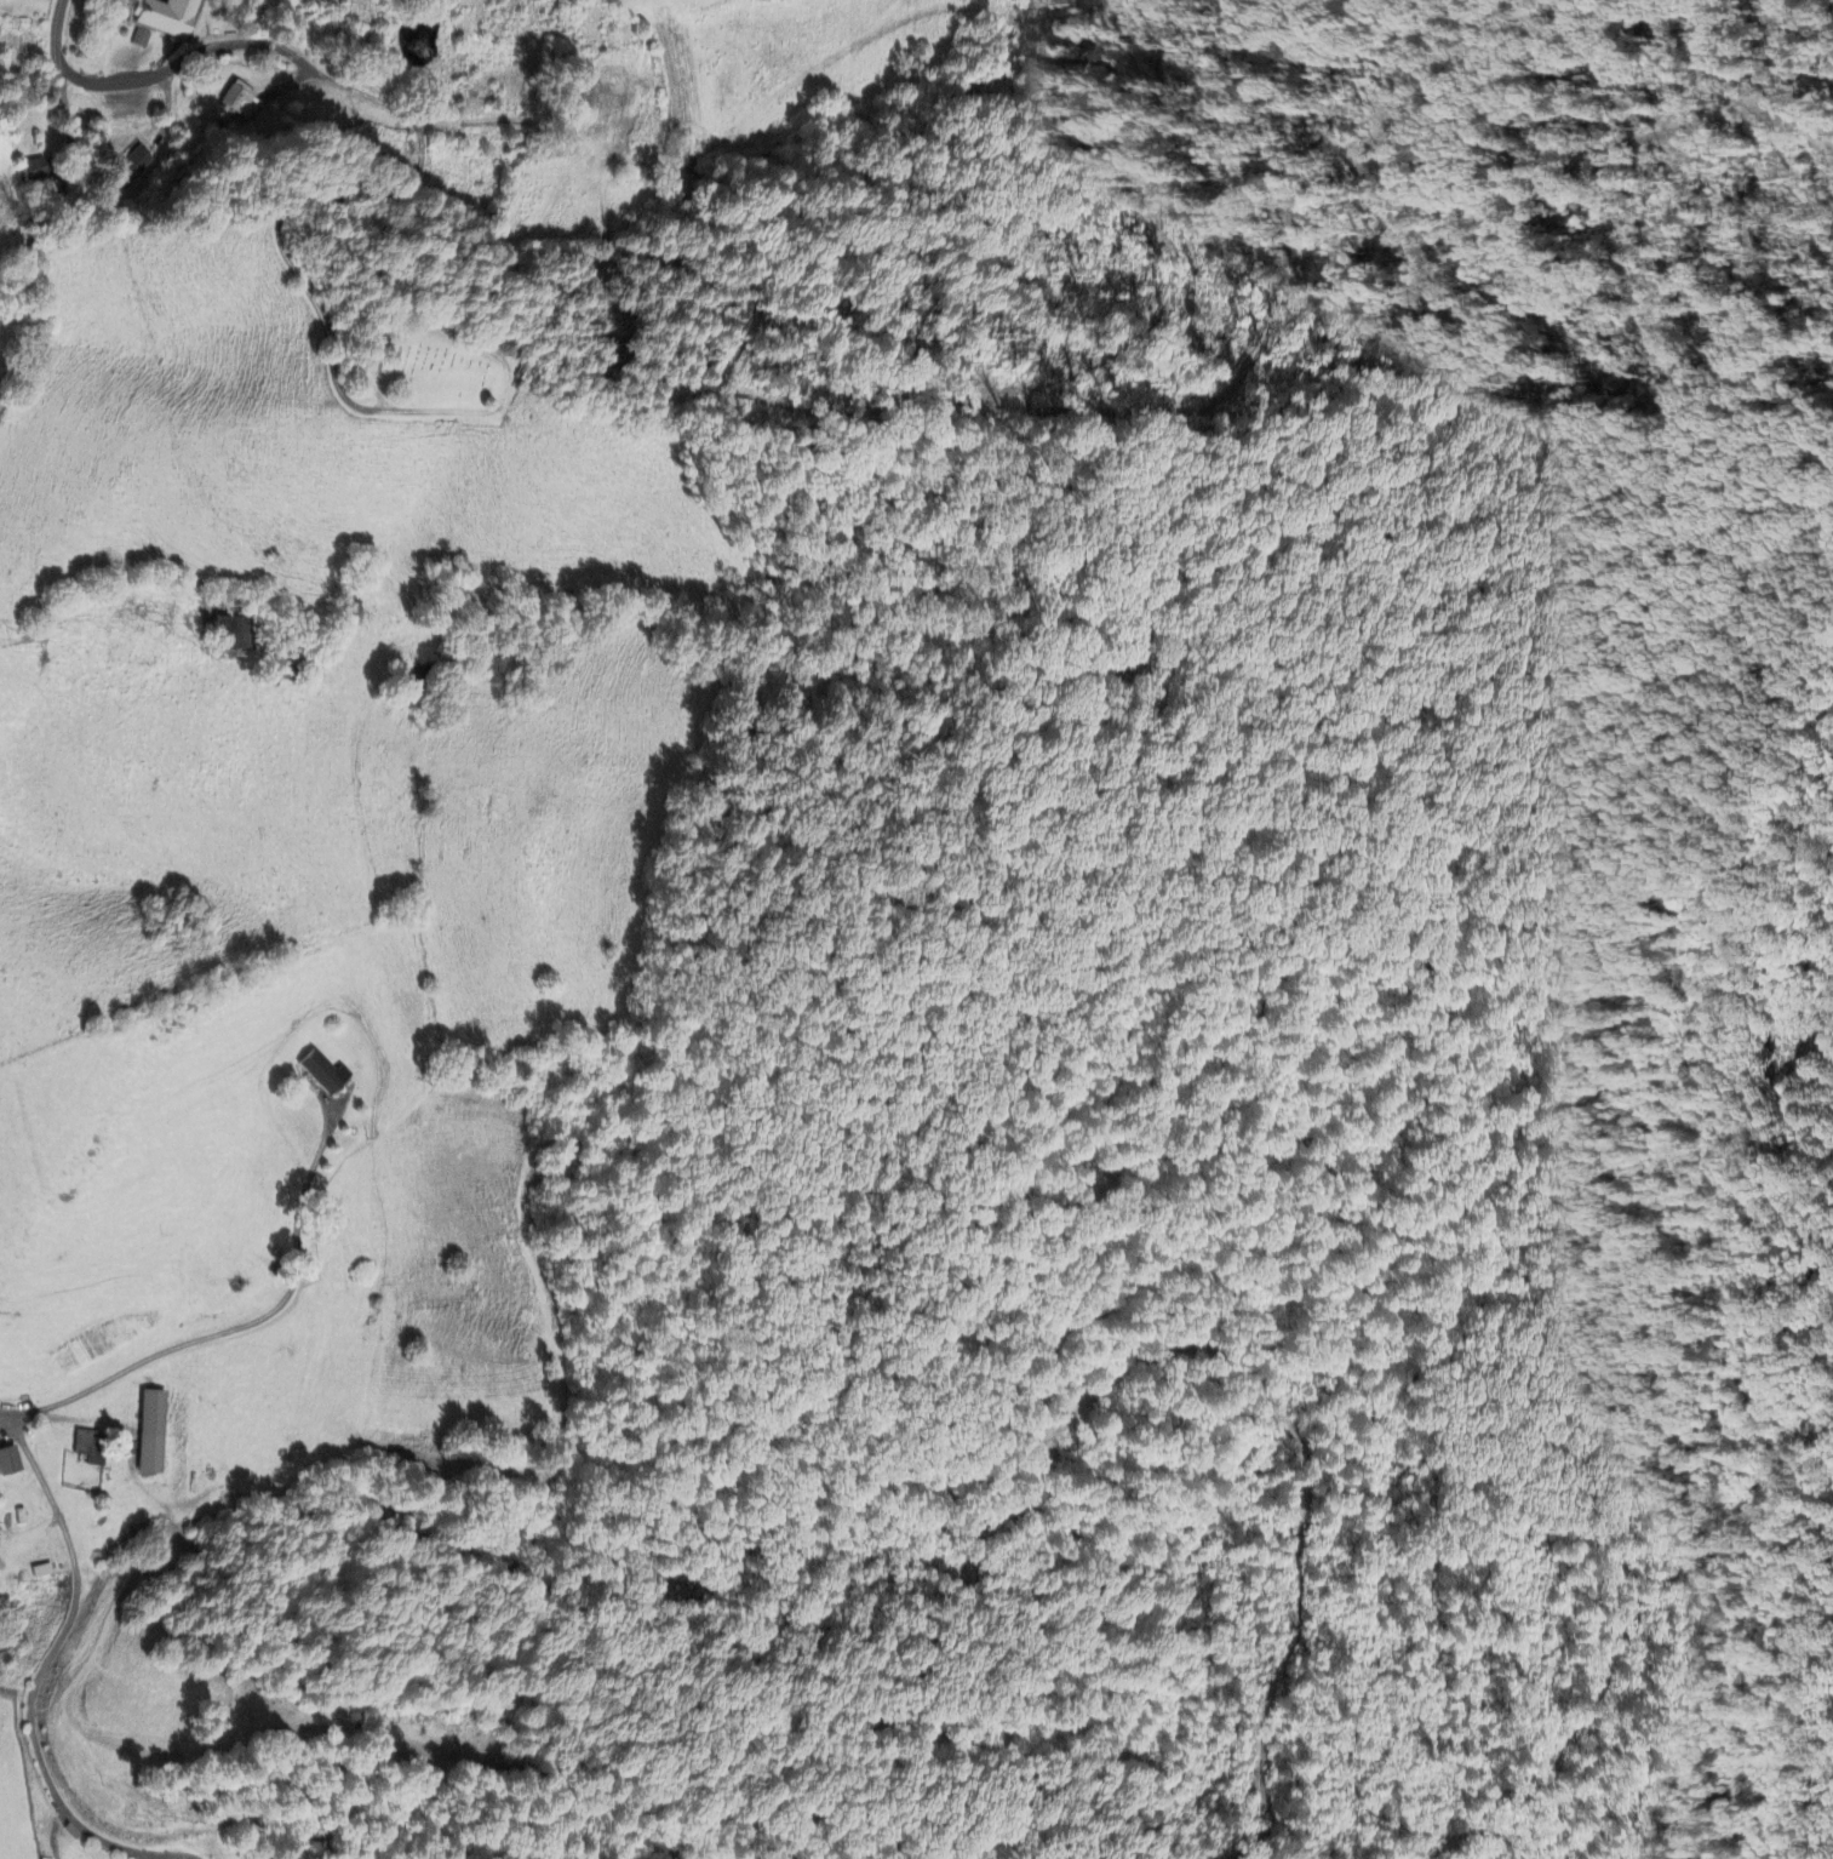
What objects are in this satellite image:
building: (166, 17)
building: (142, 39)
road: (164, 74)
building: (242, 102)
building: (133, 167)
building: (34, 171)
road: (378, 247)
park: (434, 370)
building: (233, 635)
building: (322, 1072)
road: (223, 1331)
building: (151, 1431)
building: (91, 1447)
building: (8, 1460)
building: (41, 1571)
road: (25, 1659)

